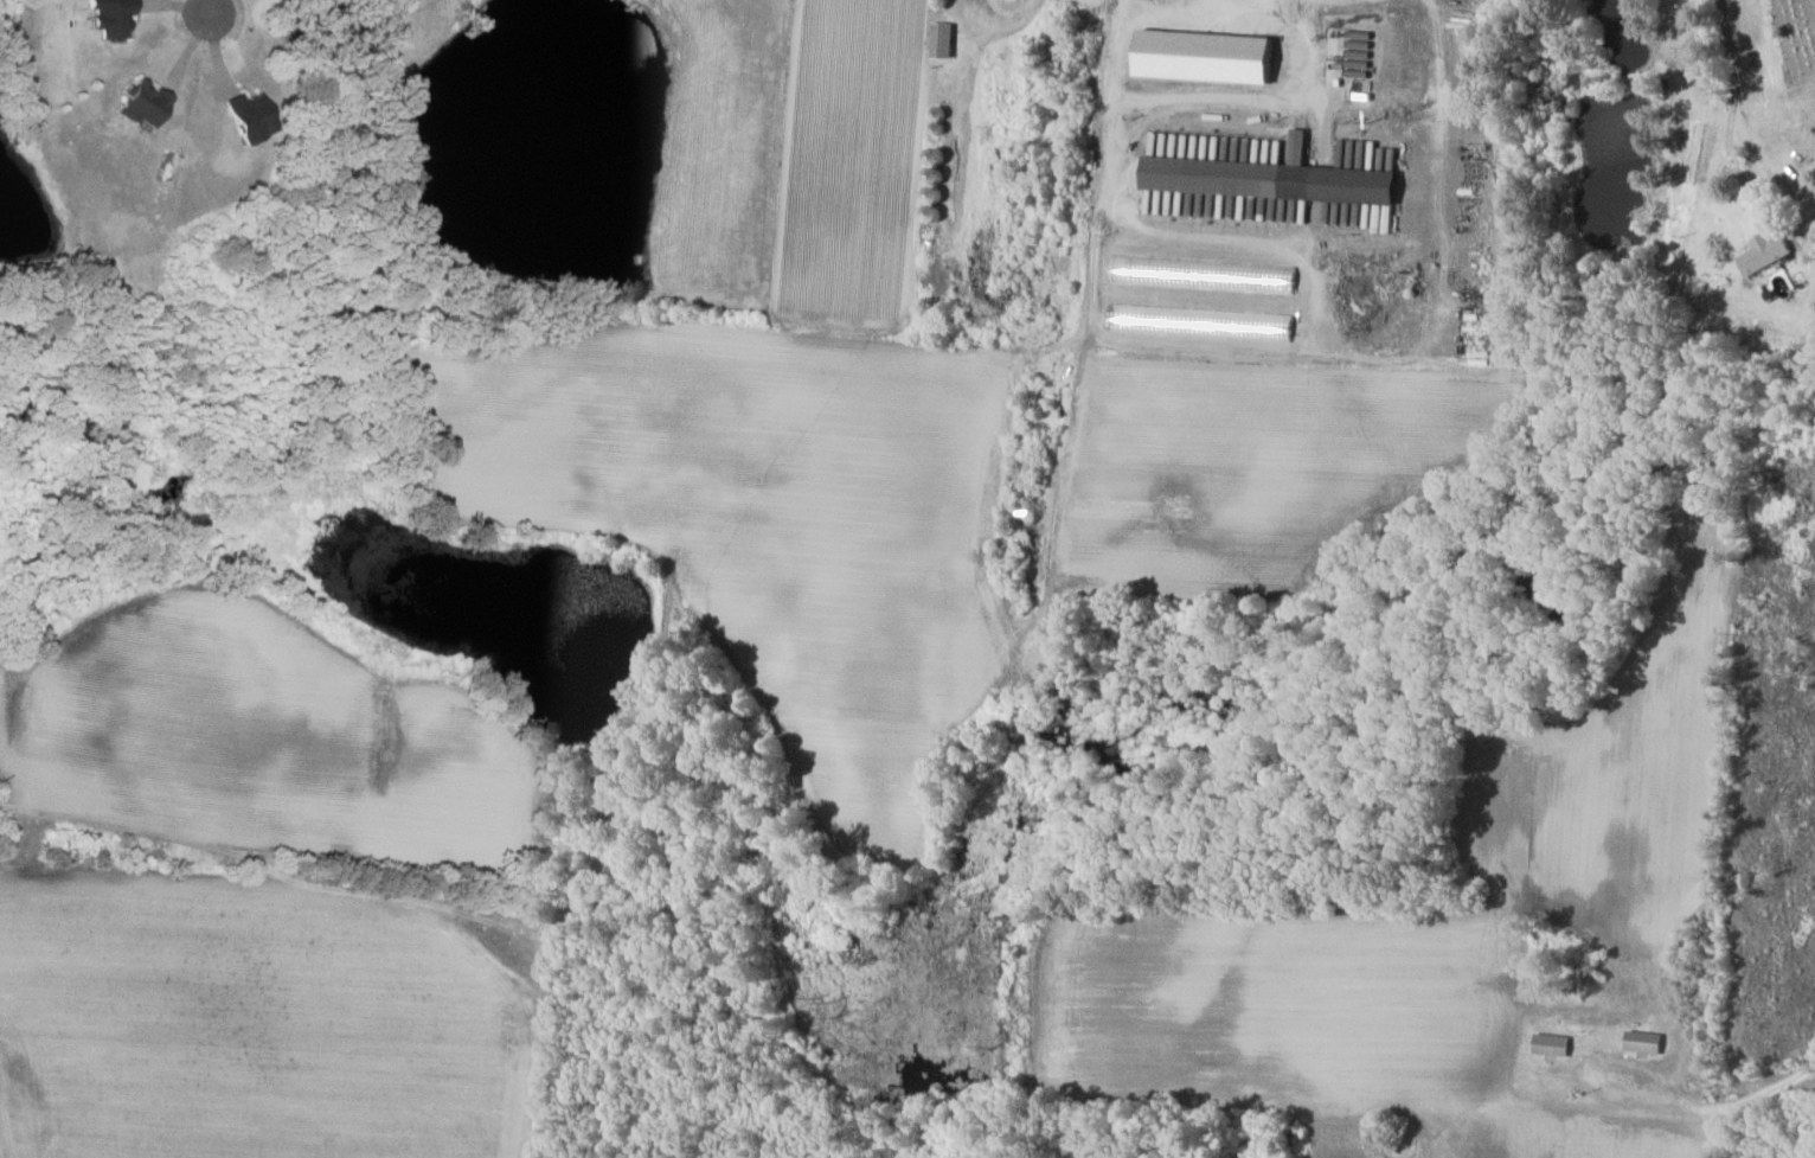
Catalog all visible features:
road: (207, 8)
road: (1160, 13)
building: (110, 18)
building: (942, 40)
building: (1206, 57)
building: (143, 104)
building: (251, 117)
road: (1732, 117)
building: (1271, 178)
building: (1766, 254)
building: (1204, 274)
building: (1201, 322)
road: (347, 895)
building: (1647, 1042)
building: (1554, 1045)
road: (1772, 1101)

